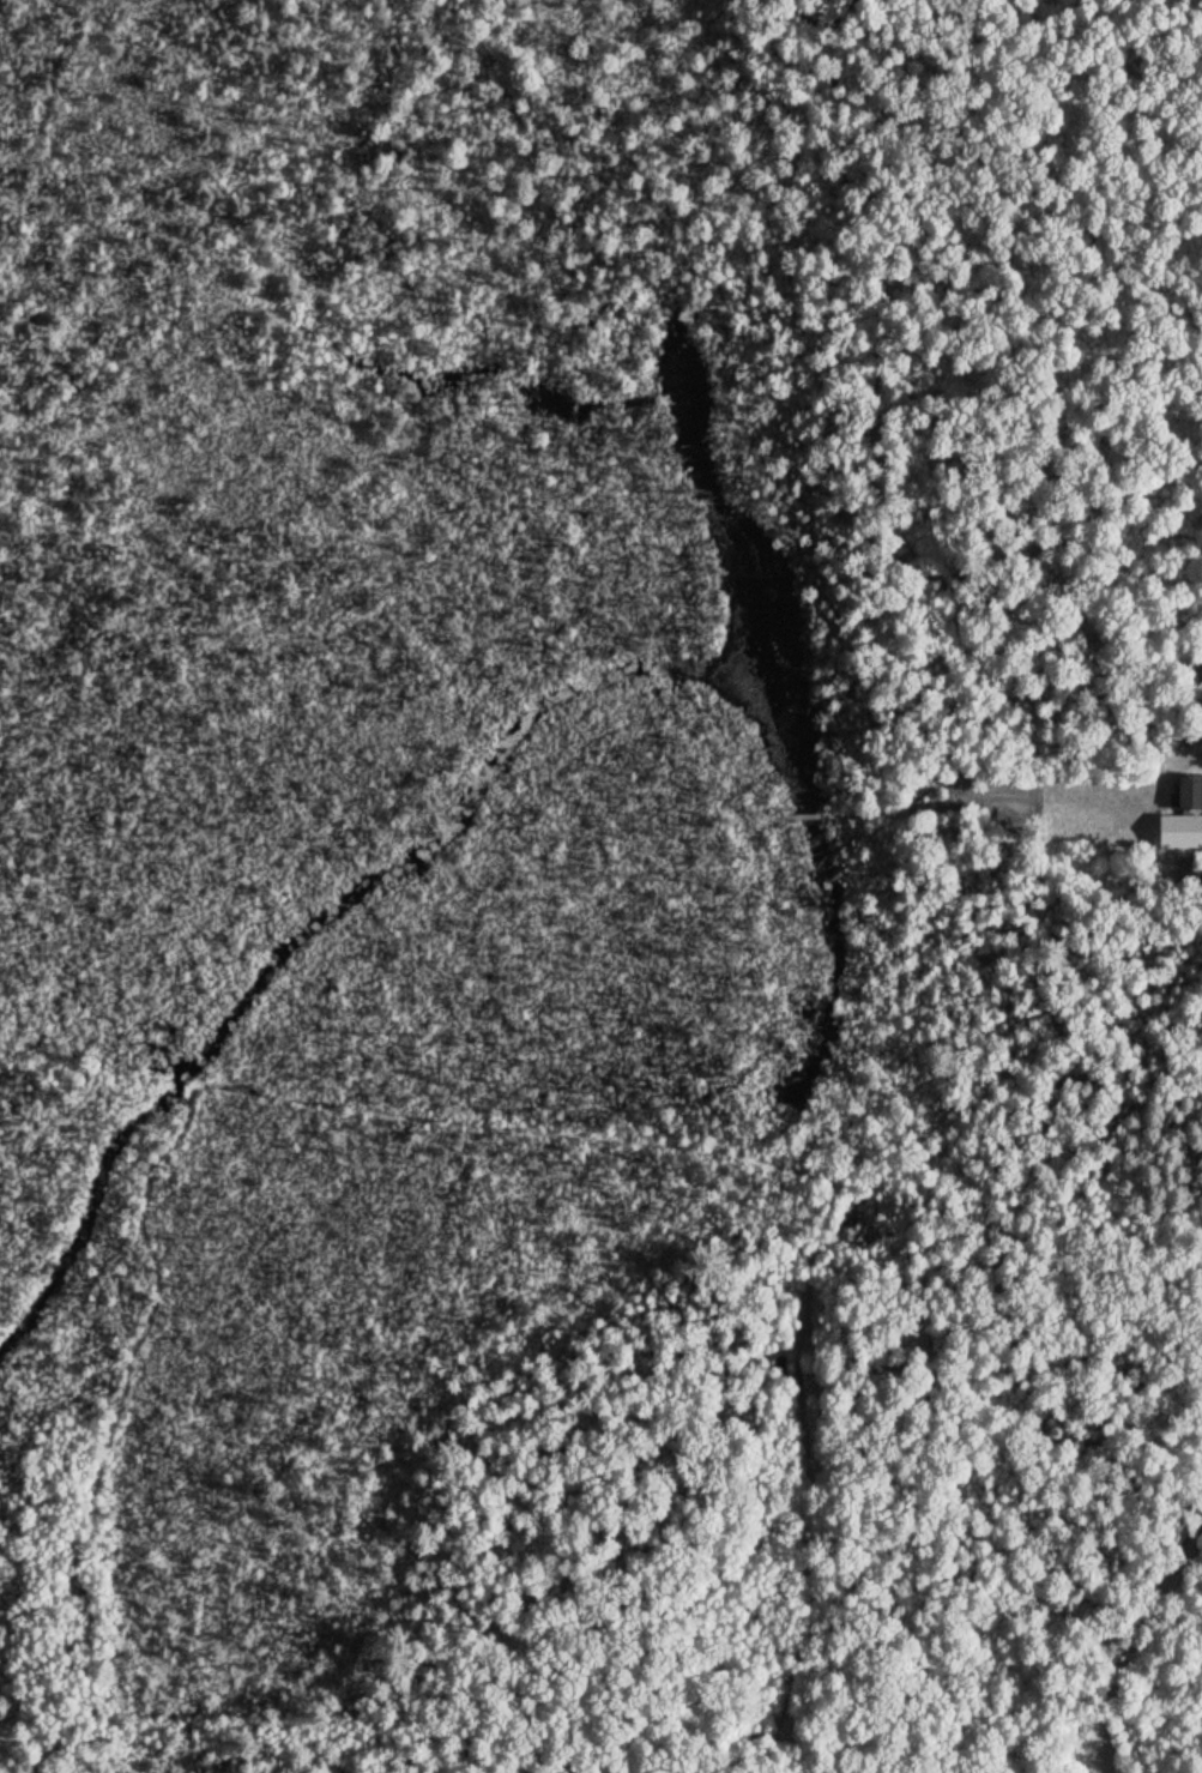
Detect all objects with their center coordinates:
building: (1189, 790)
road: (871, 810)
road: (804, 818)
road: (748, 824)
building: (1198, 846)
building: (1201, 869)
building: (1201, 873)
road: (80, 1067)
road: (814, 1168)
road: (1027, 1202)
road: (1141, 1644)

